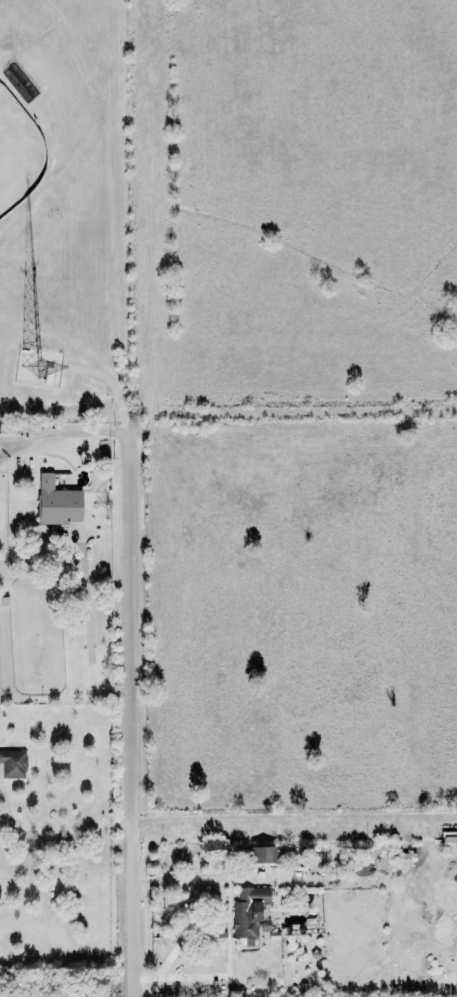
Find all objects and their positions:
park: (17, 152)
park: (65, 204)
road: (62, 432)
building: (57, 503)
road: (86, 626)
road: (128, 713)
building: (12, 765)
road: (293, 820)
road: (65, 826)
building: (261, 855)
building: (361, 863)
road: (195, 884)
building: (249, 912)

